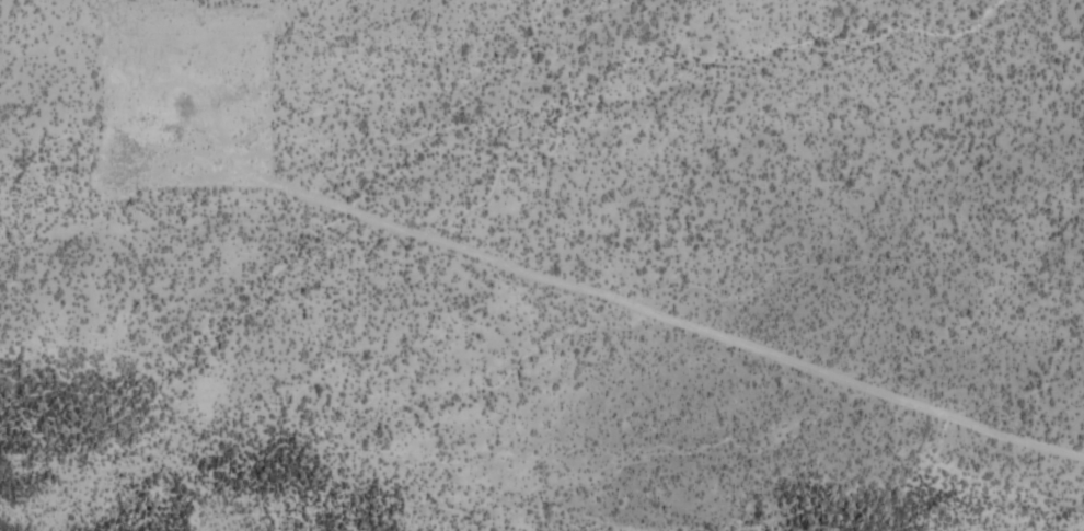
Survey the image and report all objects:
building: (265, 3)
building: (145, 25)
building: (45, 32)

